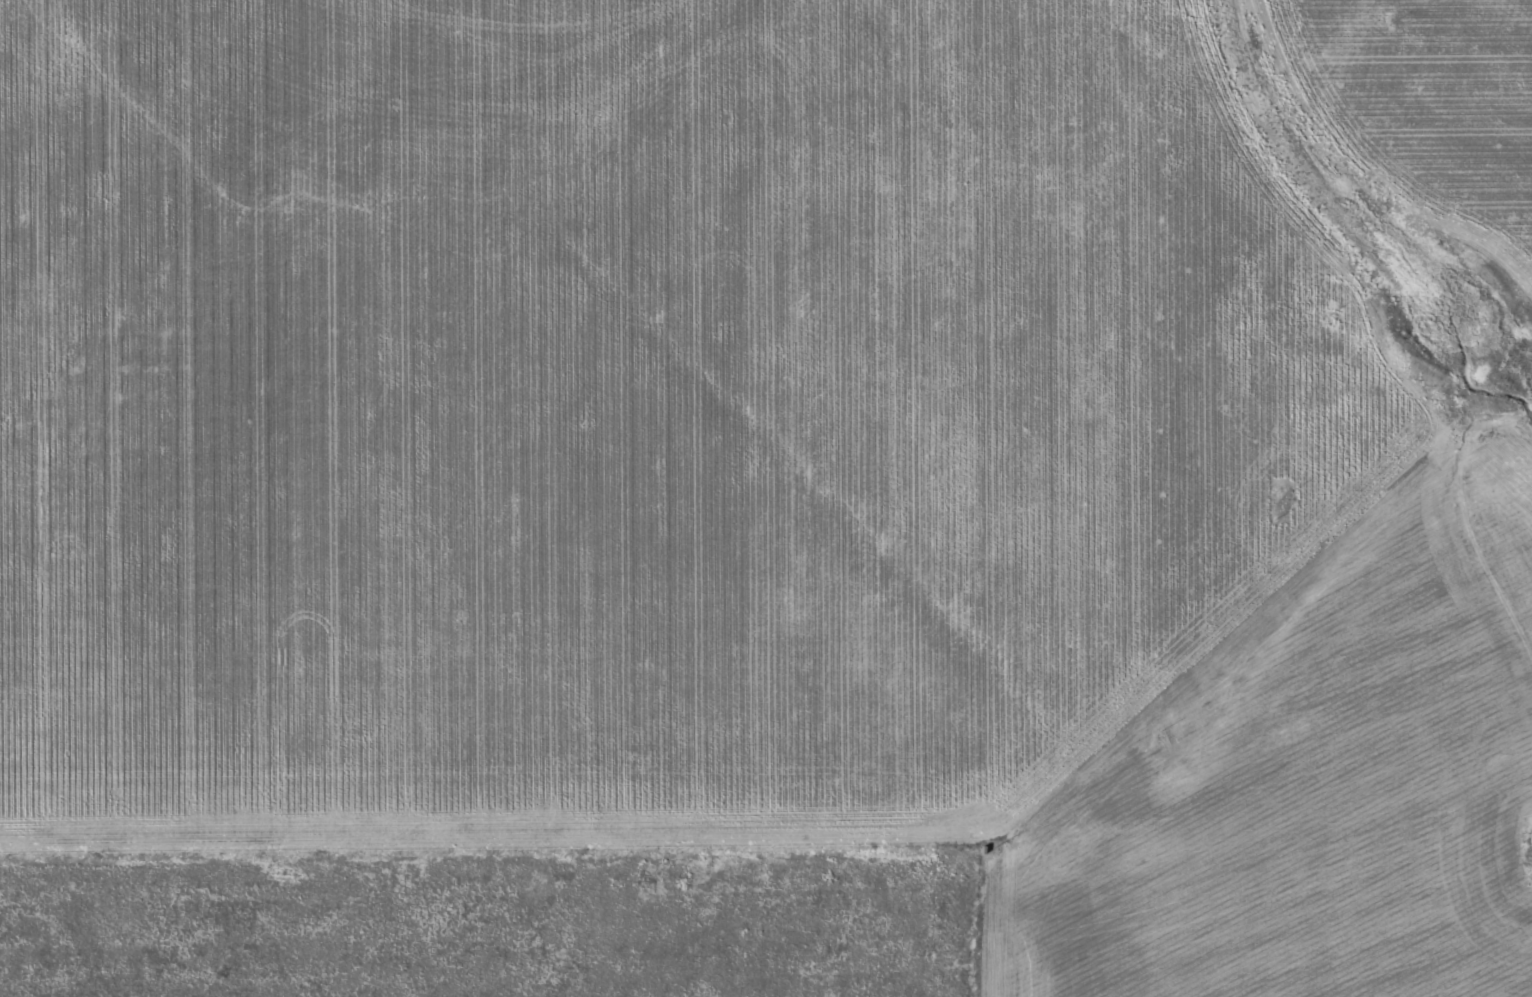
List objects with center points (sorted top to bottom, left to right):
road: (1458, 487)

